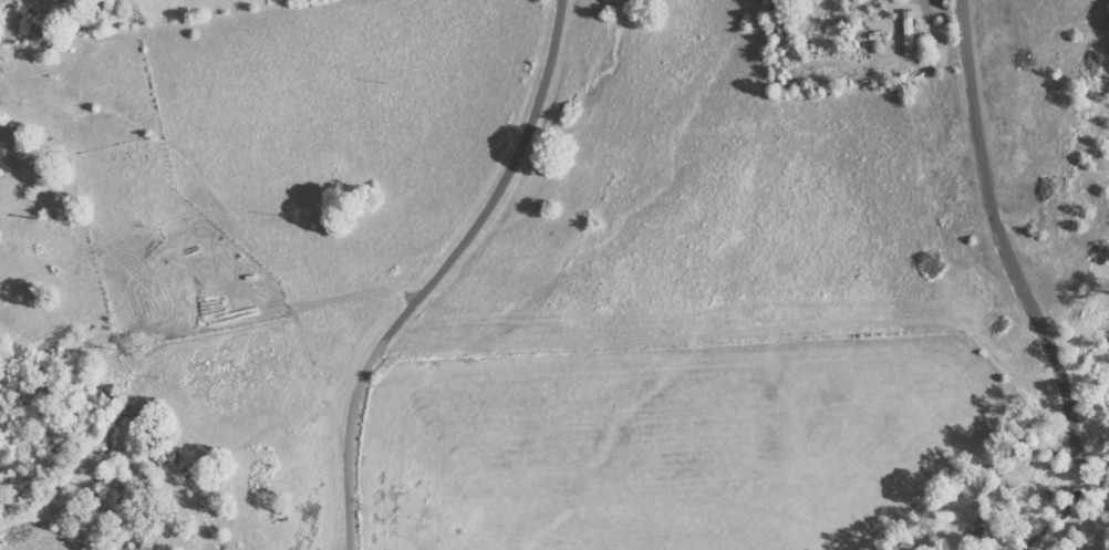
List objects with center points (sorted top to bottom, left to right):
building: (911, 33)
road: (379, 157)
road: (1009, 261)
road: (107, 270)
road: (442, 272)

